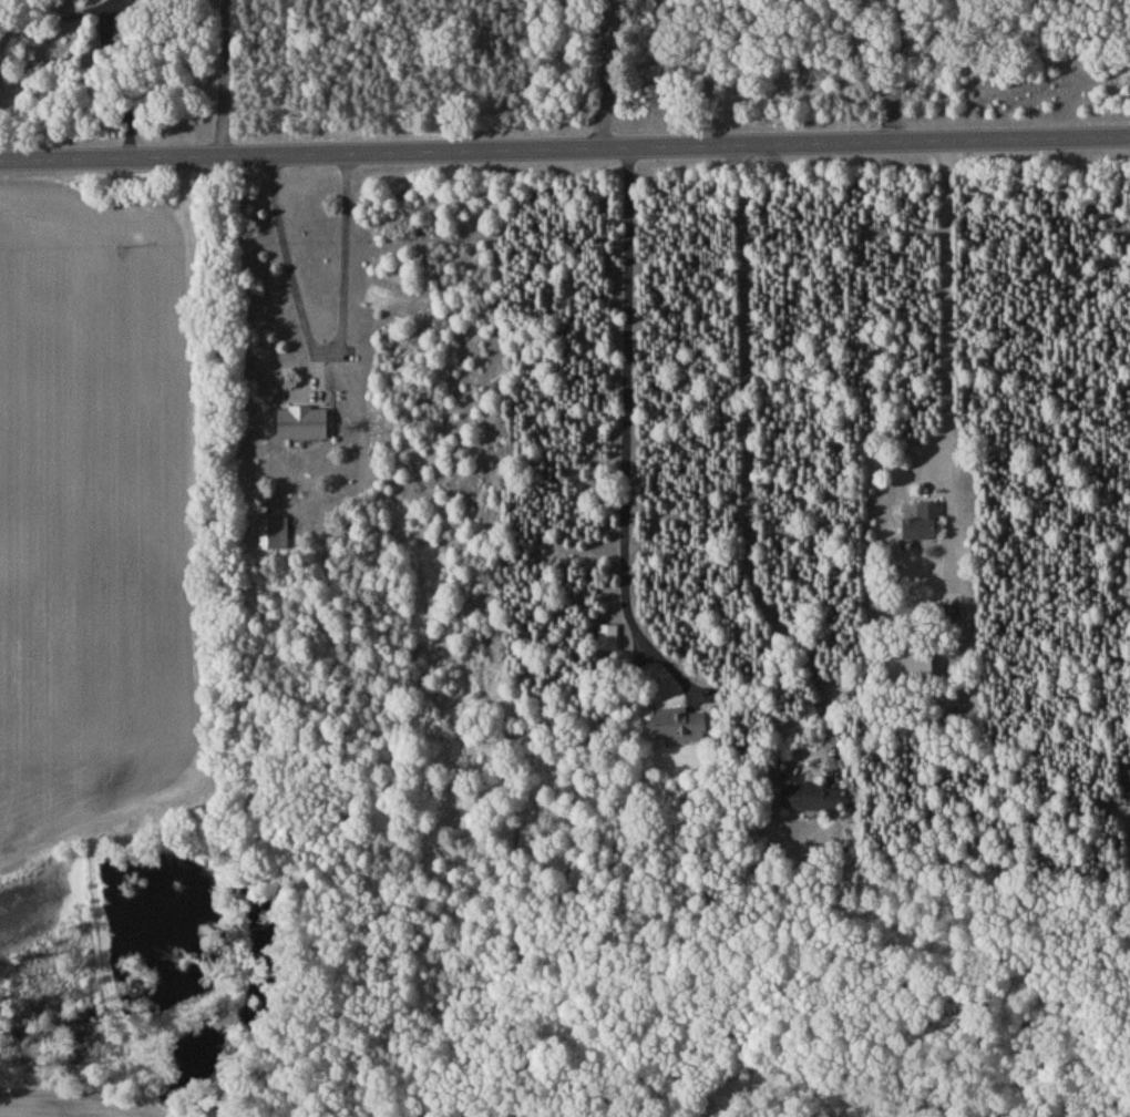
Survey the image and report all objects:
building: (148, 1)
road: (2, 31)
road: (603, 75)
road: (225, 78)
road: (129, 81)
building: (657, 99)
road: (565, 151)
road: (322, 349)
road: (946, 358)
road: (628, 403)
building: (304, 427)
road: (746, 460)
building: (924, 527)
building: (273, 537)
building: (608, 641)
building: (679, 728)
building: (813, 801)

